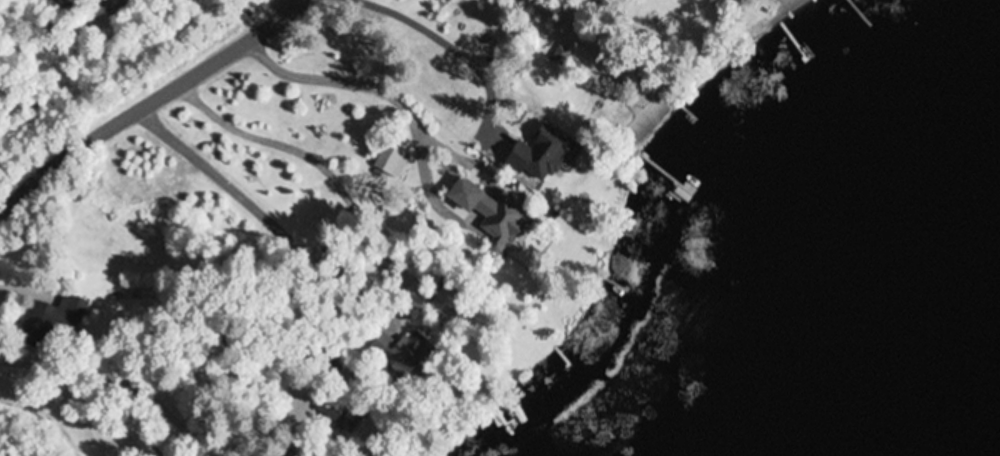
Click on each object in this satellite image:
road: (288, 7)
road: (66, 29)
building: (561, 55)
road: (153, 106)
building: (541, 157)
building: (391, 161)
building: (489, 212)
building: (451, 306)
building: (59, 316)
building: (402, 351)
road: (86, 394)
building: (339, 411)

